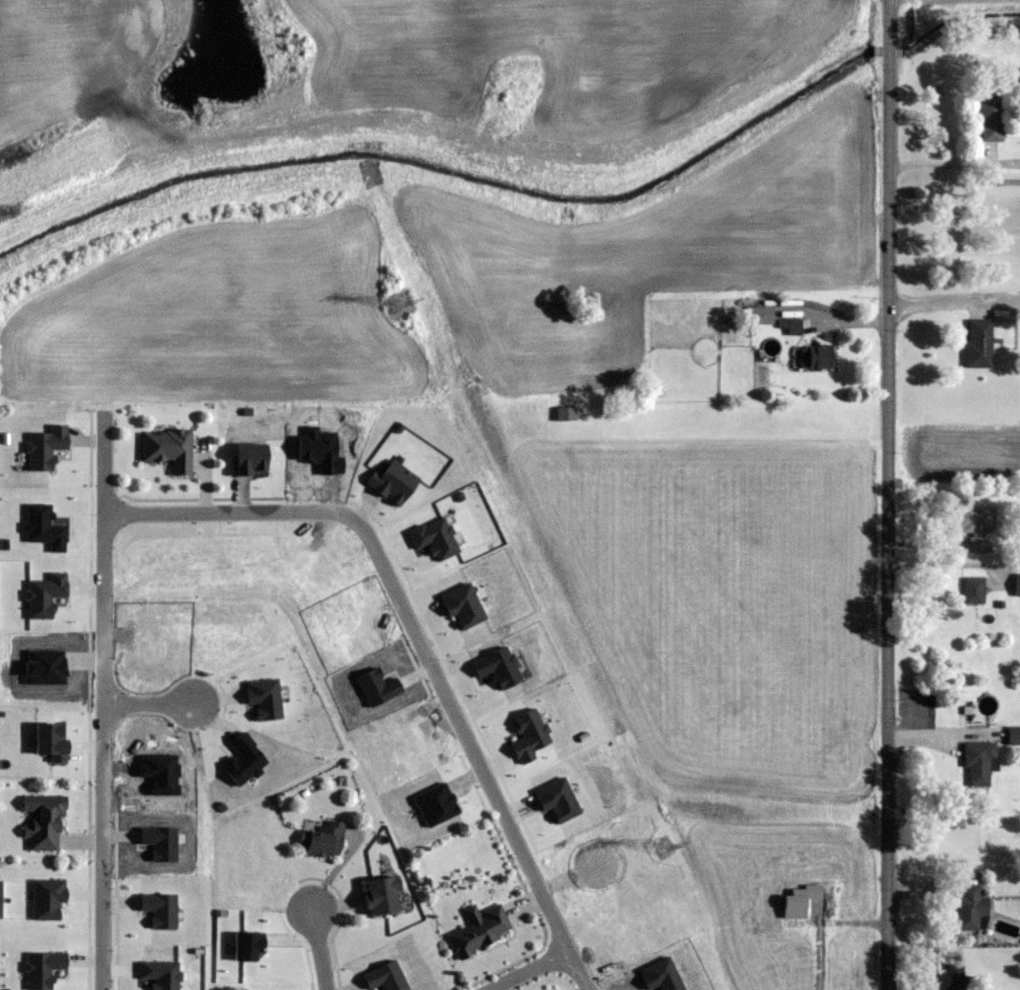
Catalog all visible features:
building: (992, 117)
power tower: (364, 175)
road: (942, 305)
building: (760, 314)
building: (789, 320)
building: (978, 343)
building: (814, 356)
building: (565, 413)
building: (167, 449)
road: (888, 495)
building: (979, 528)
road: (945, 563)
building: (1017, 585)
building: (974, 590)
road: (411, 621)
road: (107, 701)
road: (152, 703)
building: (1013, 735)
building: (979, 762)
building: (43, 820)
building: (321, 839)
power tower: (668, 859)
building: (379, 895)
building: (971, 907)
building: (479, 929)
road: (320, 945)
road: (531, 971)
road: (580, 971)
building: (664, 975)
building: (957, 978)

